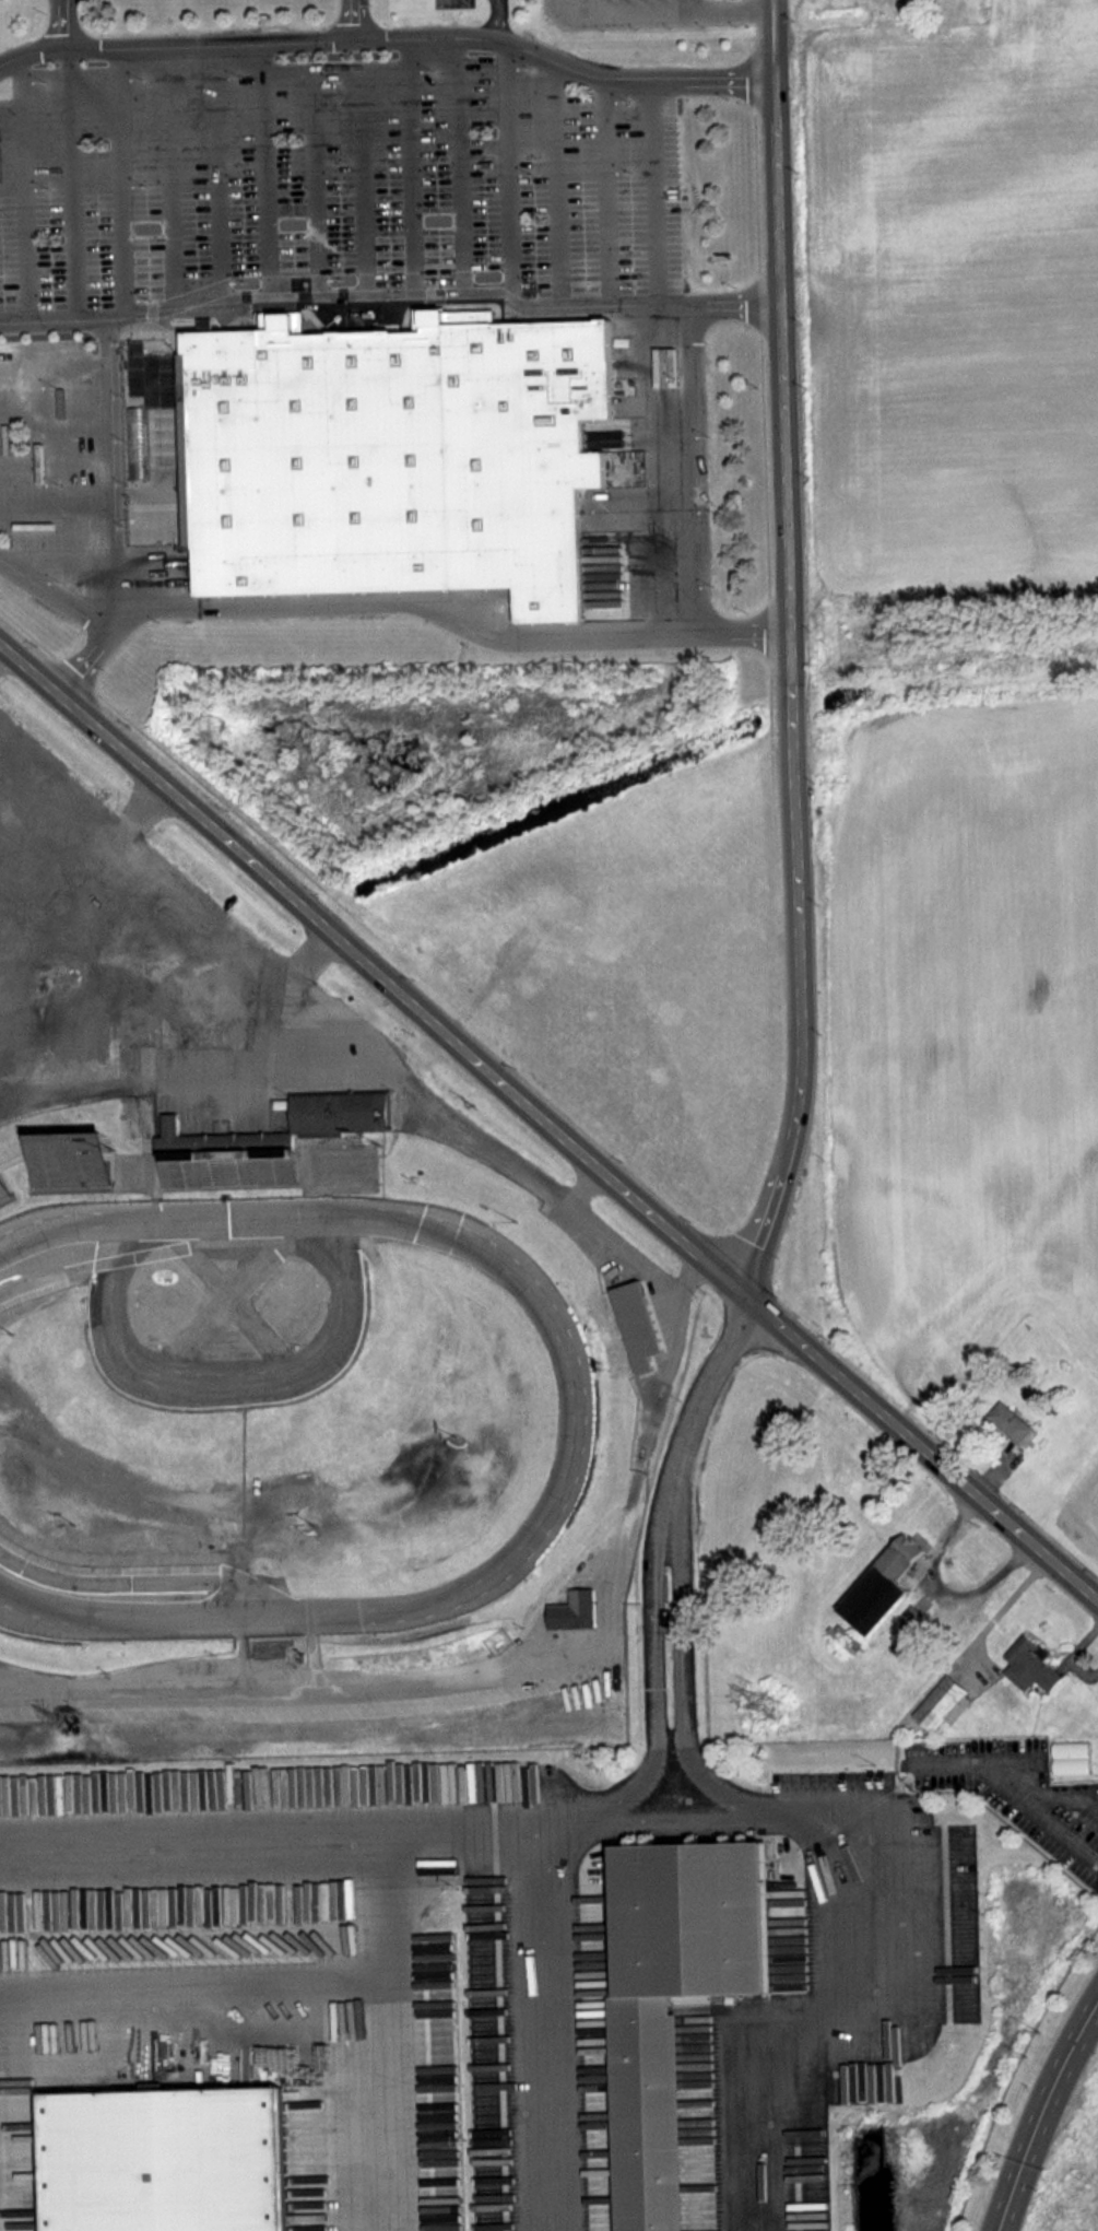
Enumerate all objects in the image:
road: (670, 10)
road: (499, 19)
road: (355, 20)
road: (62, 24)
road: (390, 38)
road: (775, 39)
road: (365, 132)
road: (463, 173)
road: (412, 174)
road: (221, 175)
road: (513, 175)
road: (170, 177)
road: (128, 180)
road: (73, 184)
road: (559, 184)
road: (265, 187)
road: (26, 189)
road: (319, 191)
road: (609, 191)
road: (663, 191)
parking lot: (322, 238)
crop: (954, 297)
road: (390, 310)
building: (402, 461)
road: (693, 469)
road: (111, 477)
road: (56, 595)
road: (410, 602)
road: (791, 688)
road: (55, 796)
road: (135, 814)
road: (222, 948)
crop: (968, 1026)
road: (547, 1122)
road: (494, 1154)
building: (192, 1173)
road: (586, 1185)
building: (642, 1325)
stadium: (340, 1362)
road: (226, 1381)
raceway: (579, 1411)
road: (695, 1416)
crop: (1085, 1513)
road: (652, 1672)
road: (689, 1672)
power tower: (779, 1703)
power tower: (70, 1724)
road: (983, 1765)
road: (1067, 1794)
road: (609, 1808)
road: (208, 1830)
road: (1065, 1833)
road: (188, 2003)
road: (544, 2022)
road: (377, 2023)
road: (837, 2031)
road: (1041, 2112)
building: (654, 2122)
building: (175, 2159)

